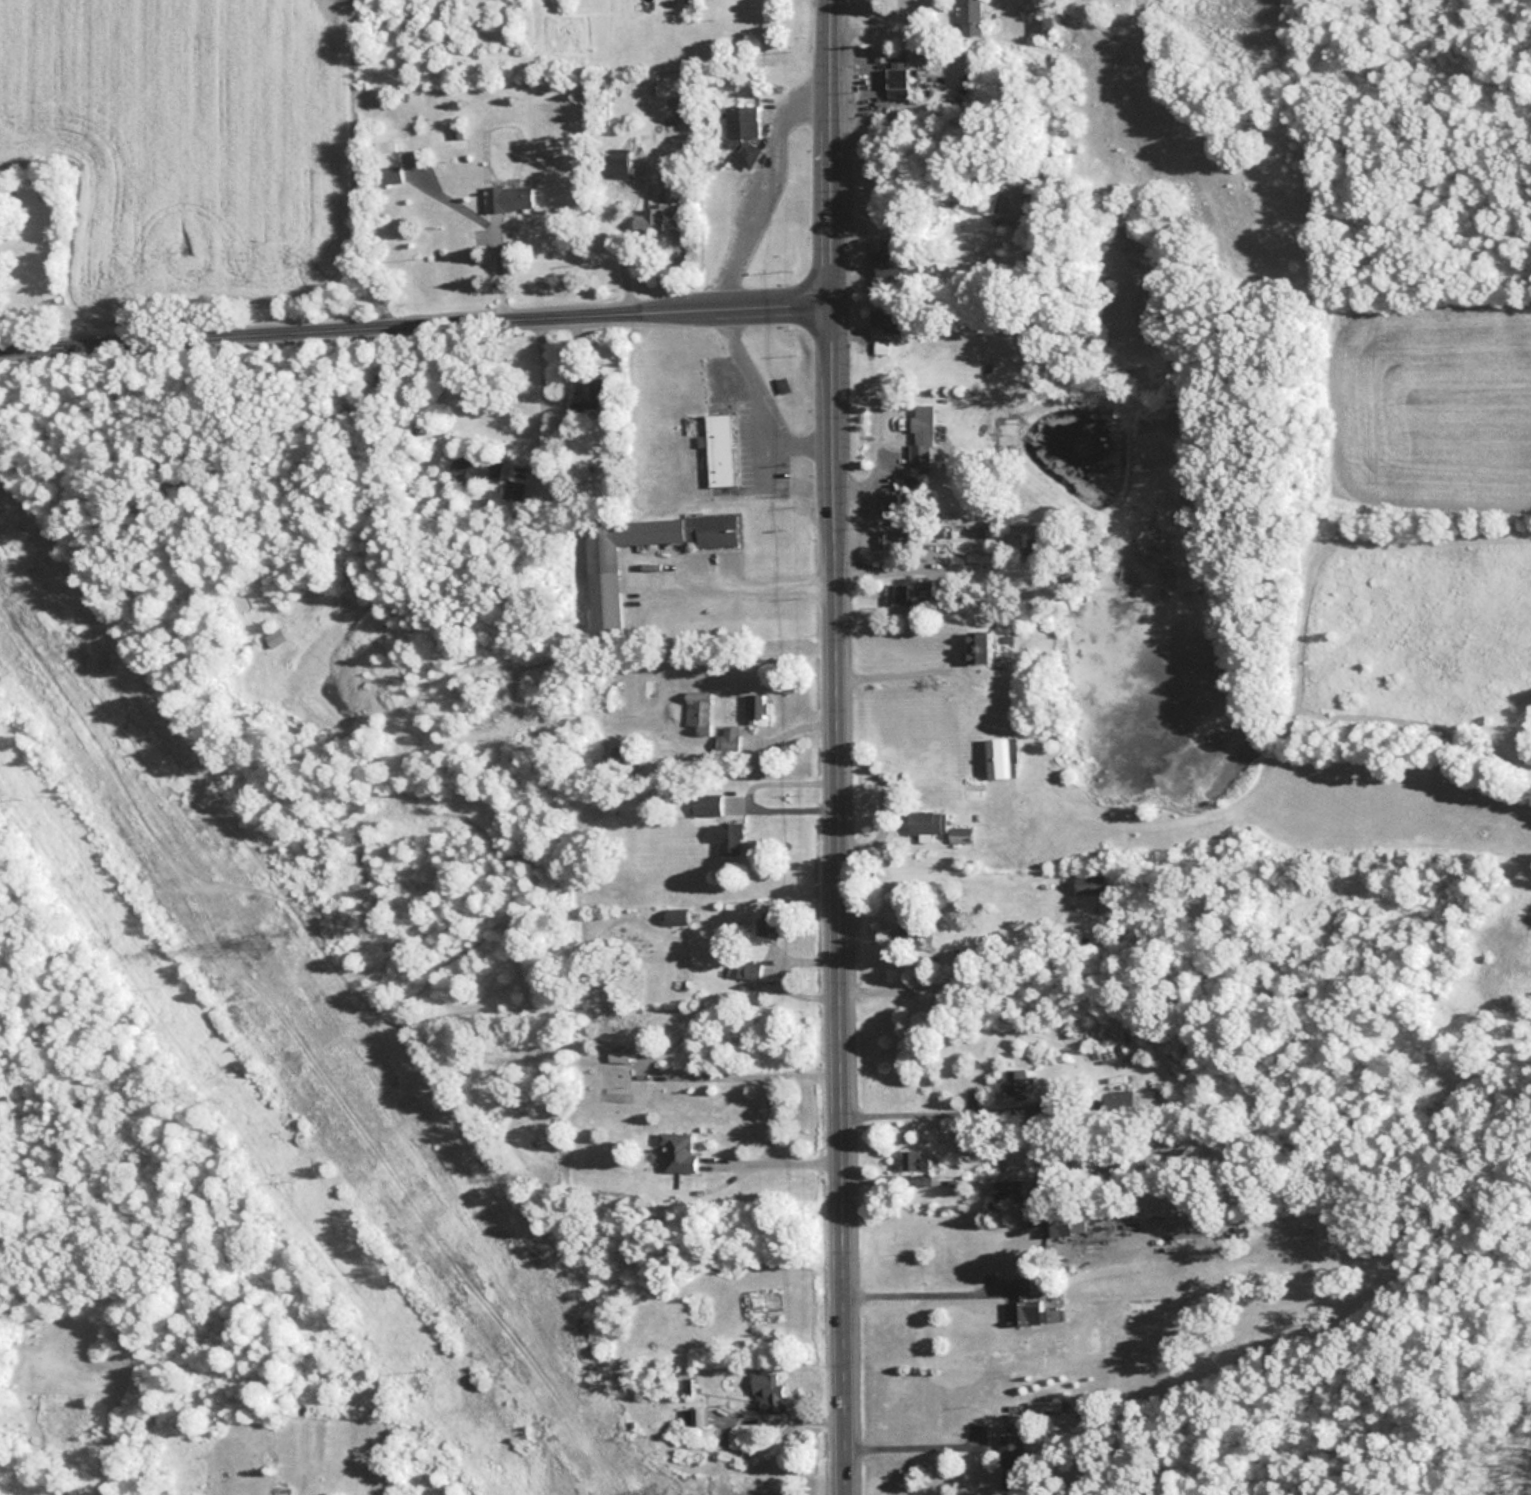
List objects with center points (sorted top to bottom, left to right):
building: (973, 18)
road: (896, 27)
building: (902, 84)
building: (884, 115)
building: (745, 134)
building: (390, 163)
building: (621, 166)
road: (775, 185)
building: (510, 200)
building: (657, 216)
road: (488, 226)
road: (615, 233)
road: (563, 238)
building: (896, 259)
road: (418, 320)
building: (890, 322)
road: (544, 393)
building: (600, 393)
road: (759, 399)
building: (578, 412)
building: (926, 439)
building: (722, 451)
building: (480, 468)
building: (514, 492)
building: (895, 508)
building: (899, 542)
road: (746, 588)
building: (925, 590)
building: (608, 593)
building: (898, 596)
building: (342, 605)
building: (984, 650)
road: (897, 675)
building: (757, 710)
building: (699, 711)
building: (731, 741)
road: (841, 747)
building: (626, 761)
building: (1001, 762)
building: (894, 801)
building: (708, 807)
building: (930, 825)
building: (964, 837)
building: (733, 840)
building: (1094, 886)
building: (679, 920)
building: (776, 925)
building: (914, 936)
power tower: (260, 947)
building: (750, 972)
road: (896, 992)
building: (618, 1056)
building: (1017, 1083)
building: (1130, 1104)
road: (929, 1114)
road: (766, 1117)
building: (680, 1153)
building: (920, 1161)
building: (1018, 1191)
building: (1065, 1225)
road: (924, 1295)
building: (1026, 1304)
building: (770, 1396)
building: (696, 1419)
road: (736, 1421)
road: (916, 1449)
building: (1013, 1464)

